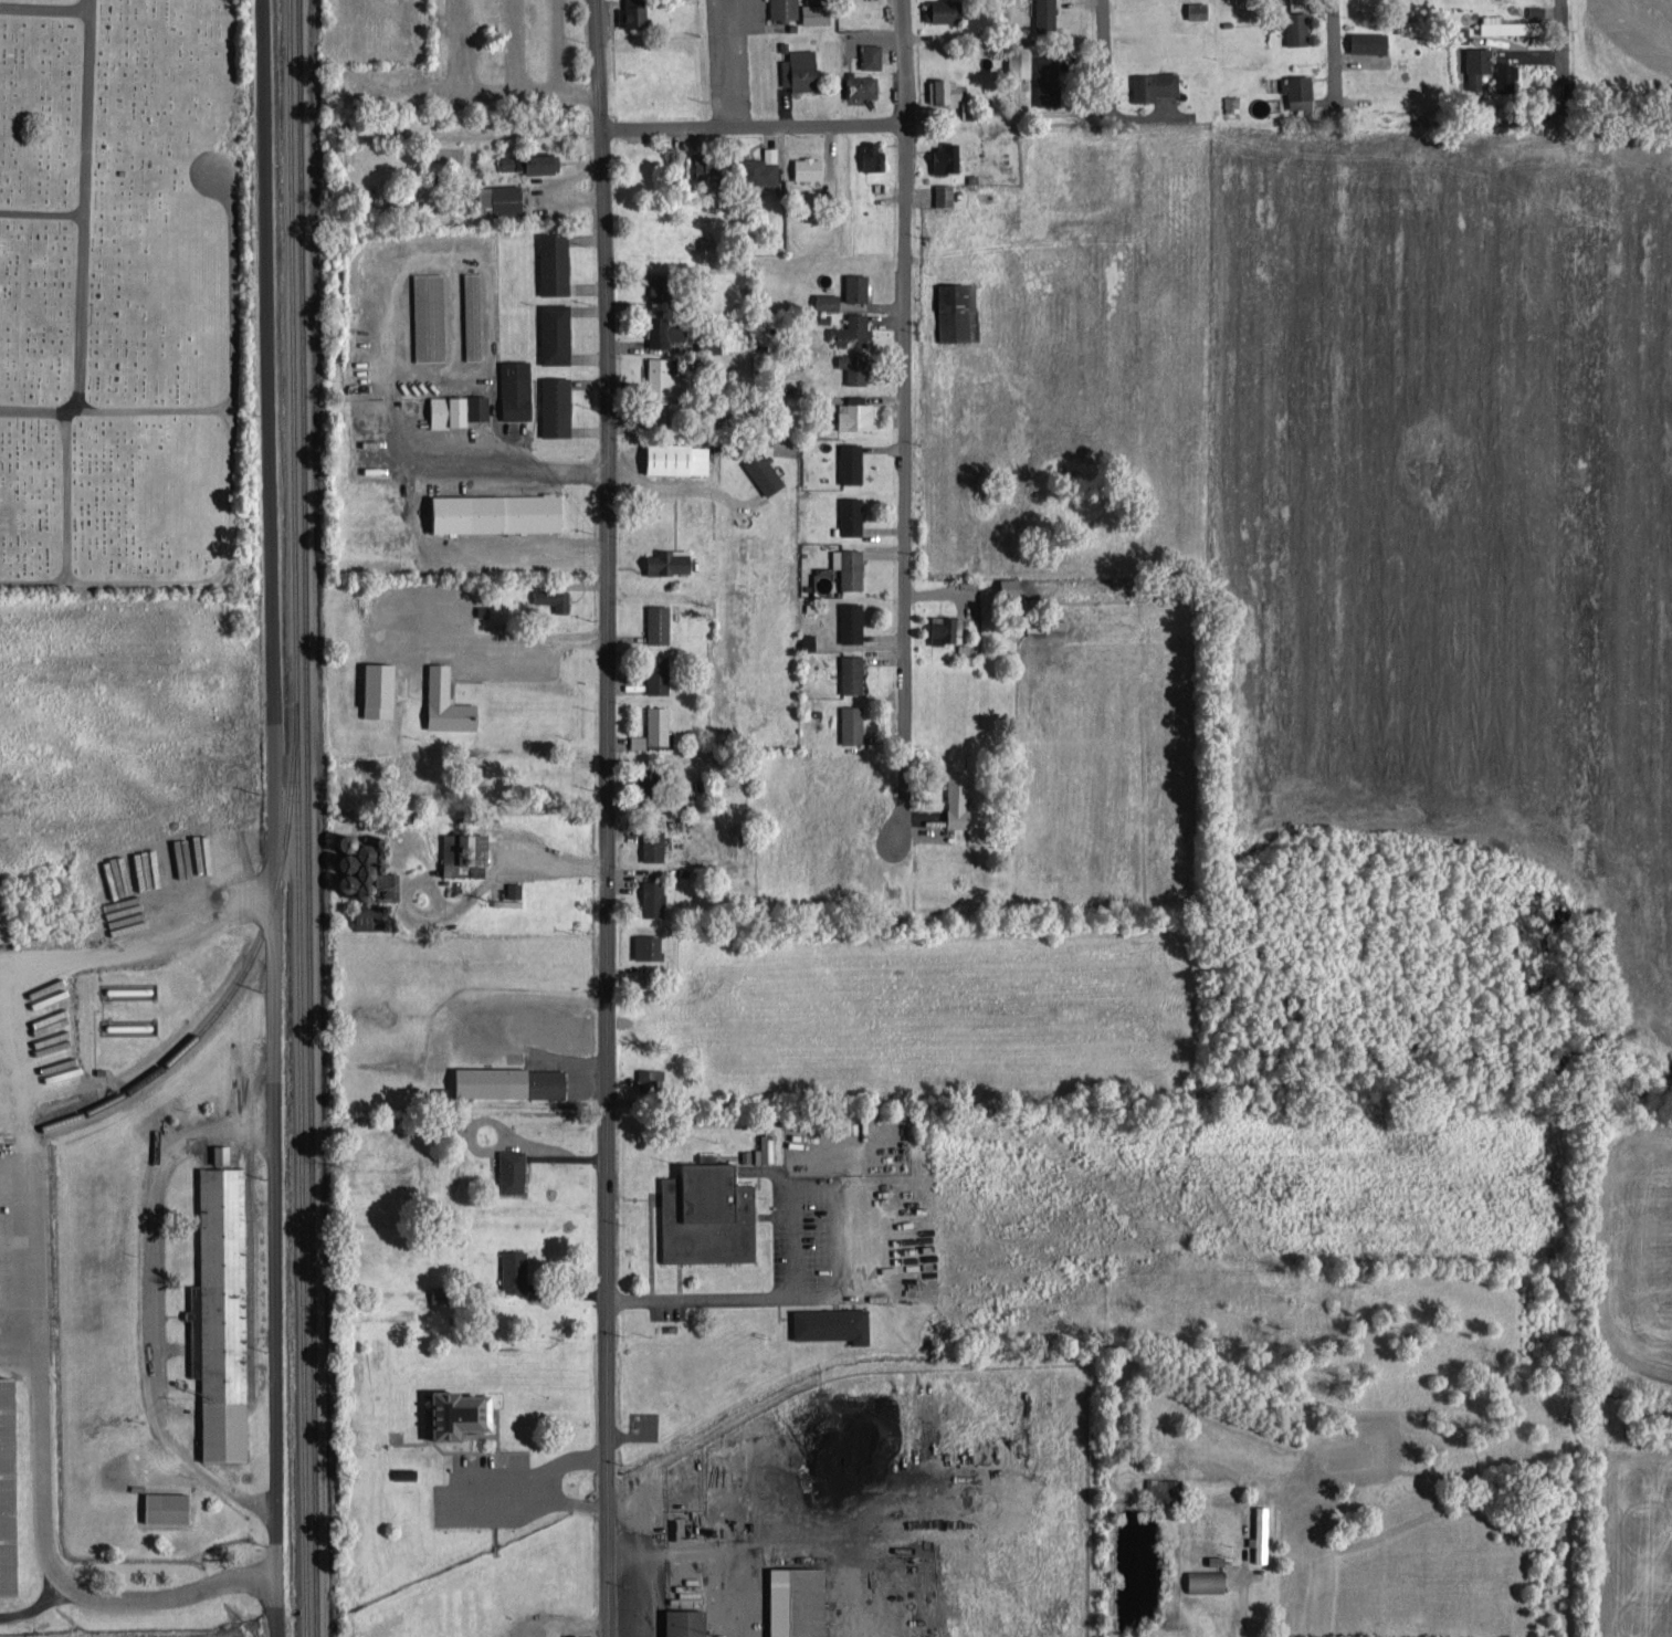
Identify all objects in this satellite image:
building: (1191, 8)
building: (779, 9)
road: (46, 10)
building: (933, 10)
building: (1531, 11)
building: (810, 12)
building: (628, 13)
building: (1040, 14)
road: (1559, 15)
building: (1497, 24)
building: (1290, 27)
building: (1457, 33)
building: (1361, 40)
road: (1335, 43)
road: (1105, 44)
building: (860, 54)
building: (1472, 65)
building: (793, 69)
building: (1027, 70)
building: (1501, 74)
building: (1148, 83)
building: (855, 85)
building: (1292, 87)
building: (938, 90)
road: (753, 124)
building: (767, 153)
building: (866, 154)
building: (938, 157)
building: (534, 161)
building: (704, 167)
building: (803, 167)
building: (754, 170)
building: (940, 193)
building: (494, 198)
road: (42, 214)
road: (84, 239)
building: (548, 262)
building: (851, 285)
park: (119, 292)
building: (821, 300)
building: (949, 308)
building: (469, 315)
building: (848, 329)
building: (424, 330)
building: (659, 330)
building: (550, 332)
building: (849, 368)
building: (656, 376)
building: (511, 388)
building: (473, 406)
building: (441, 410)
building: (652, 410)
road: (151, 411)
building: (851, 413)
road: (903, 417)
building: (670, 458)
building: (845, 462)
road: (505, 463)
building: (758, 471)
road: (232, 486)
road: (69, 494)
building: (488, 512)
building: (845, 514)
building: (661, 562)
building: (844, 566)
building: (1003, 586)
building: (547, 597)
building: (846, 621)
building: (652, 622)
building: (939, 628)
building: (846, 672)
building: (652, 673)
building: (372, 689)
building: (440, 701)
building: (846, 723)
building: (653, 724)
building: (953, 804)
road: (273, 818)
railway: (298, 818)
railway: (311, 818)
road: (607, 818)
building: (646, 843)
building: (458, 853)
building: (114, 883)
building: (380, 884)
building: (509, 889)
building: (648, 898)
building: (642, 946)
building: (644, 1075)
building: (501, 1081)
building: (761, 1148)
building: (223, 1152)
building: (506, 1169)
road: (28, 1175)
building: (701, 1211)
building: (508, 1269)
road: (156, 1308)
building: (223, 1313)
building: (824, 1322)
building: (443, 1413)
building: (399, 1471)
building: (1156, 1486)
building: (11, 1488)
building: (170, 1505)
building: (1258, 1532)
building: (1200, 1578)
road: (161, 1596)
building: (789, 1601)
road: (1241, 1607)

